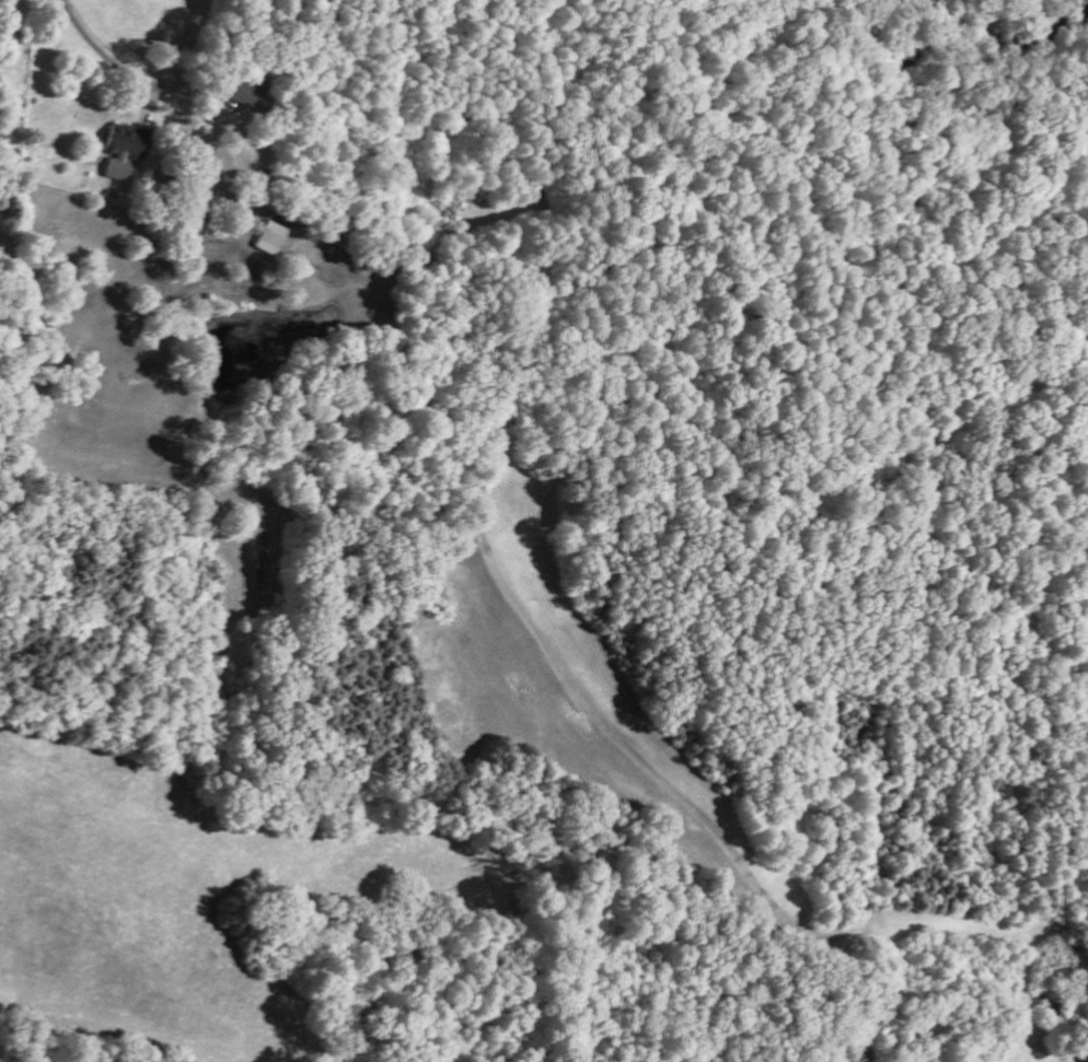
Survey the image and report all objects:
building: (244, 91)
road: (238, 128)
building: (125, 147)

